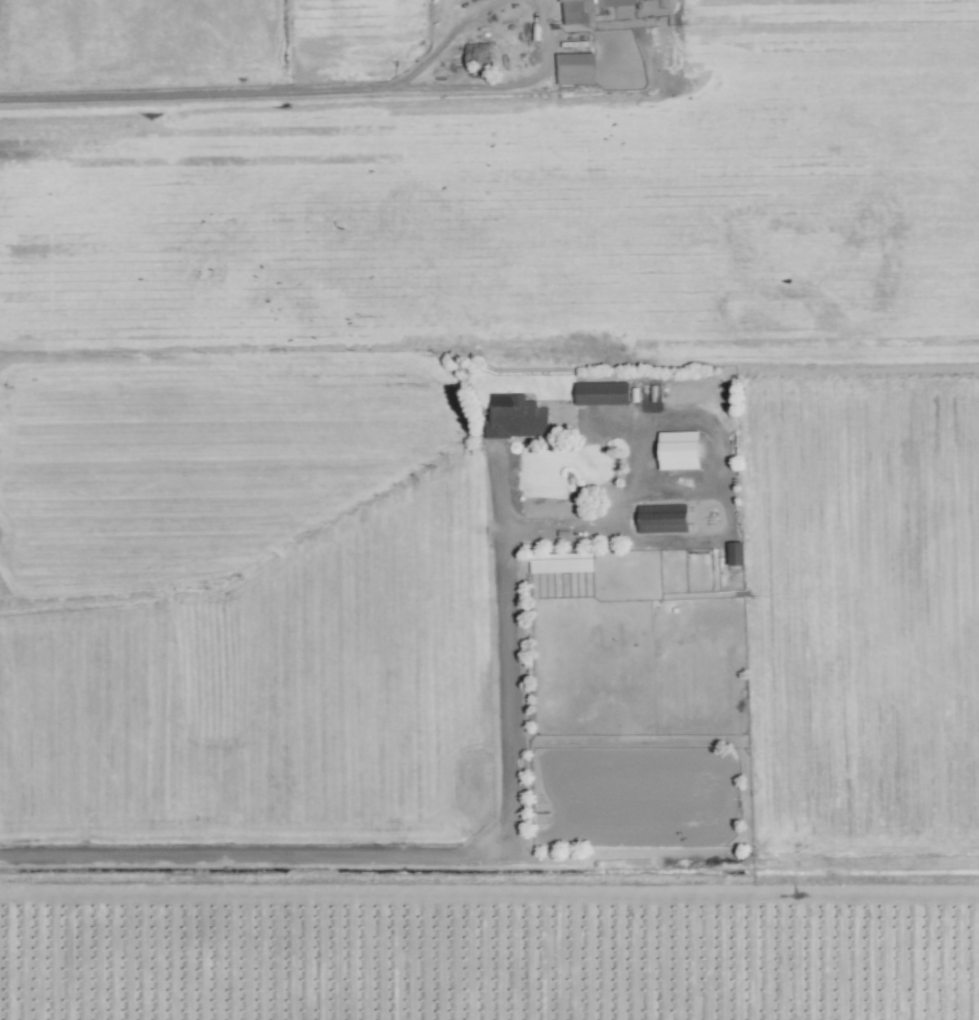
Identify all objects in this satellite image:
building: (587, 10)
road: (442, 42)
building: (477, 58)
building: (575, 69)
road: (505, 83)
road: (195, 93)
building: (602, 393)
building: (516, 417)
building: (679, 450)
crop: (489, 510)
building: (662, 519)
building: (735, 554)
building: (560, 563)
road: (500, 832)

